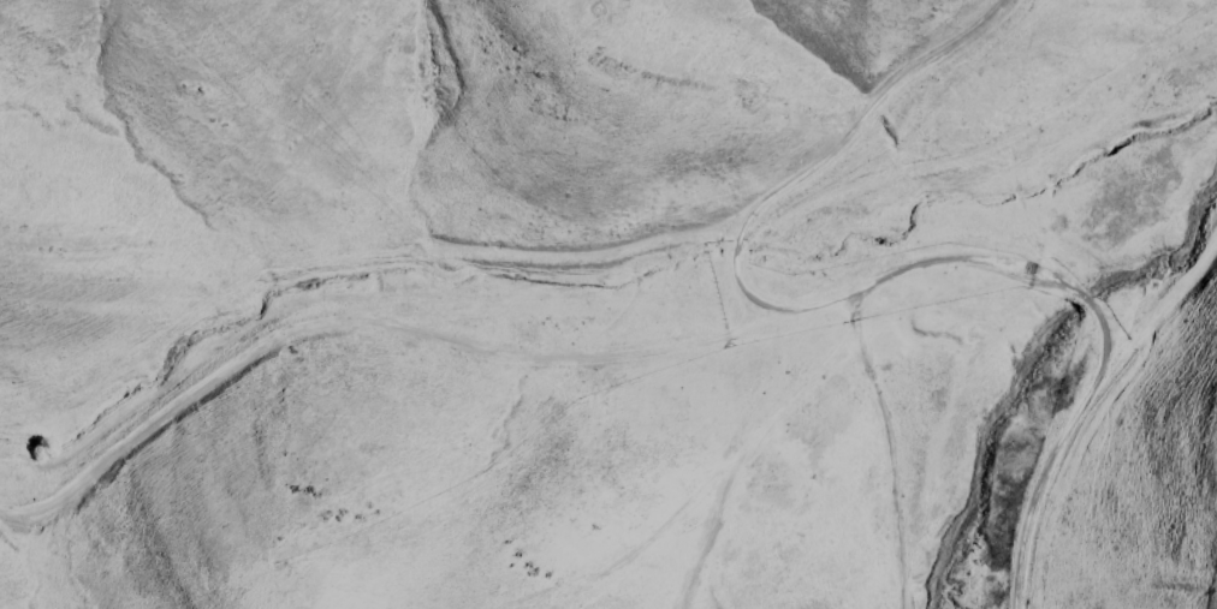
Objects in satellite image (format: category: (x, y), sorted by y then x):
road: (871, 282)

